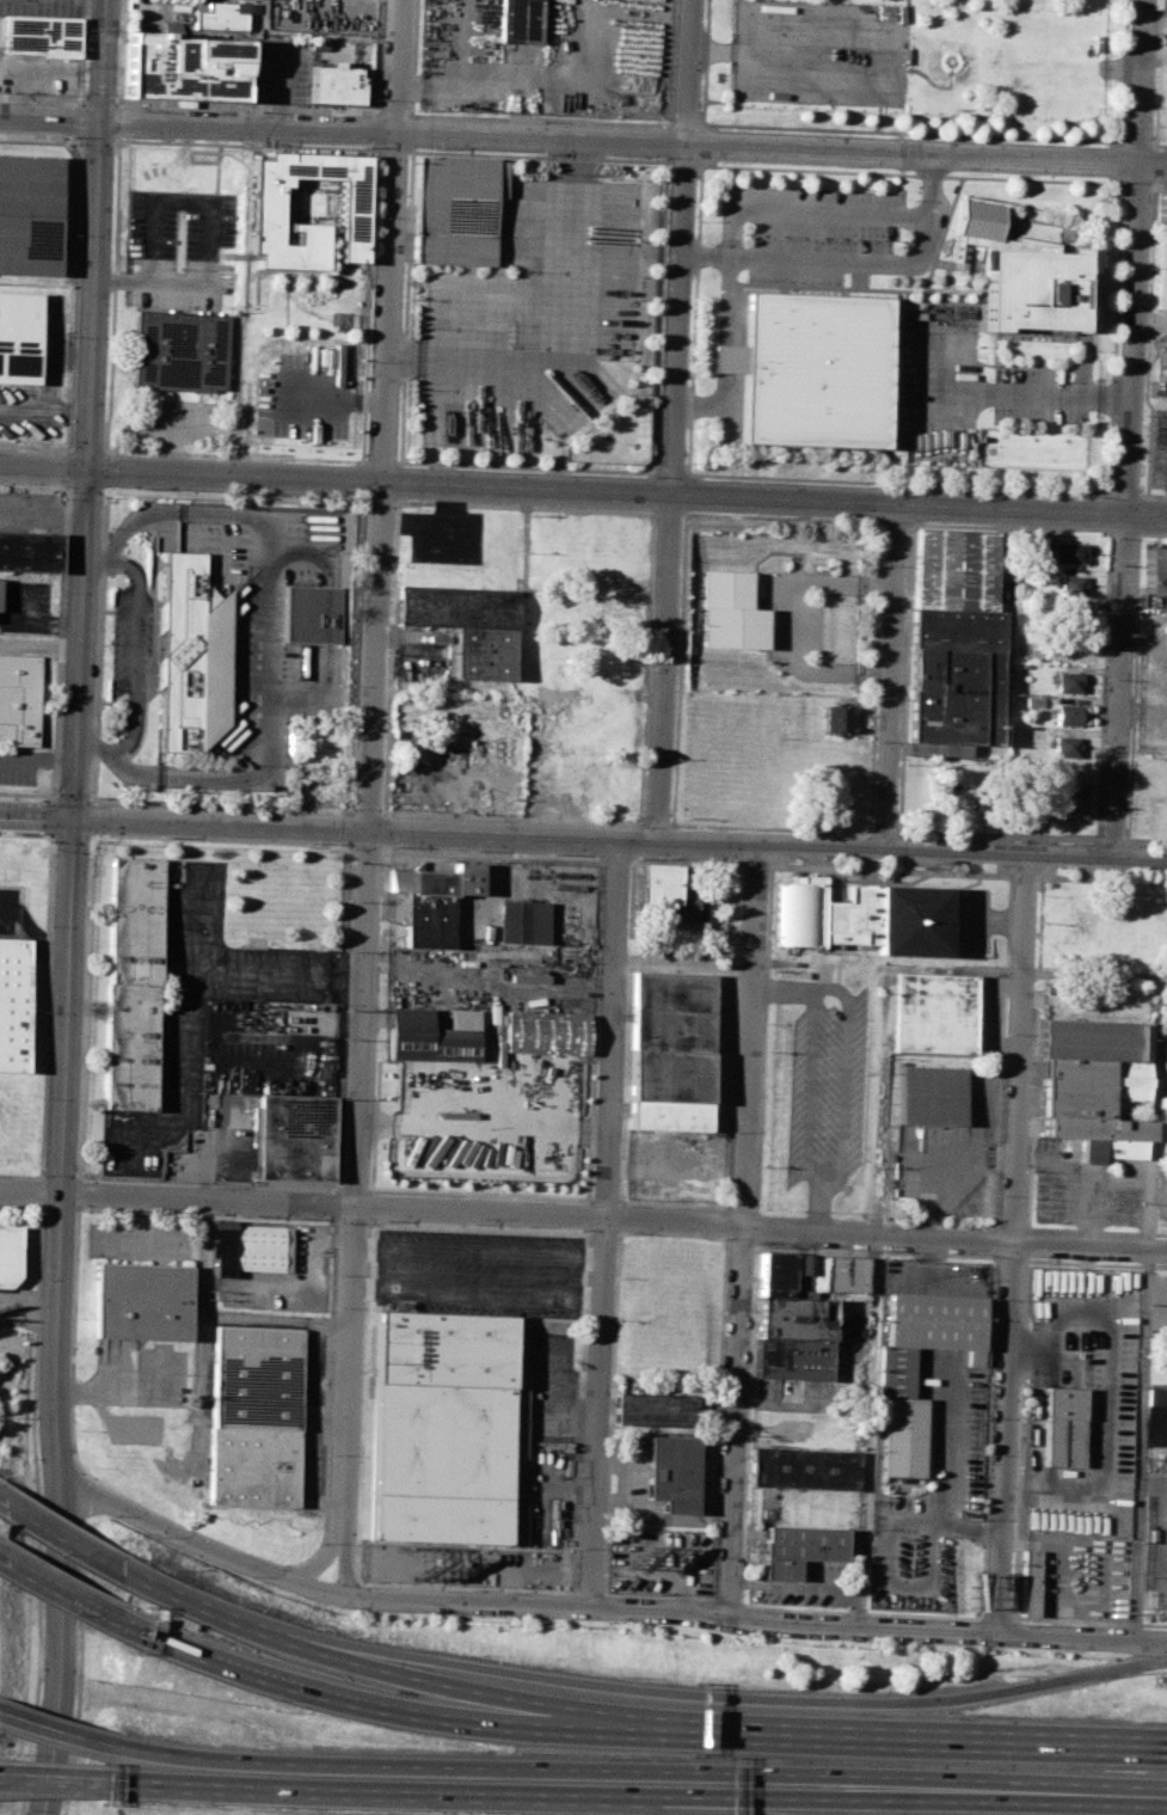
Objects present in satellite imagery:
parking lot: (43, 6)
building: (216, 13)
parking lot: (321, 16)
building: (518, 22)
building: (1165, 24)
building: (41, 37)
road: (119, 51)
road: (718, 51)
parking lot: (821, 54)
parking lot: (546, 57)
road: (105, 59)
road: (377, 59)
road: (412, 59)
road: (670, 62)
road: (704, 62)
building: (183, 68)
road: (1123, 70)
road: (1156, 78)
building: (337, 84)
road: (892, 86)
road: (85, 90)
road: (97, 99)
road: (245, 108)
building: (1163, 108)
road: (393, 114)
road: (50, 116)
road: (539, 121)
road: (684, 125)
road: (373, 130)
road: (410, 133)
road: (910, 133)
street lamp: (122, 137)
road: (116, 140)
road: (634, 141)
road: (1137, 142)
street lamp: (70, 143)
road: (373, 146)
road: (294, 147)
road: (115, 148)
road: (392, 149)
road: (257, 153)
road: (117, 155)
road: (538, 155)
road: (190, 157)
road: (683, 161)
road: (216, 168)
road: (908, 174)
road: (1132, 184)
road: (1149, 185)
road: (293, 198)
road: (179, 204)
building: (268, 204)
building: (1160, 207)
building: (455, 208)
road: (244, 209)
road: (930, 211)
building: (27, 214)
road: (731, 220)
parking lot: (813, 231)
street lamp: (70, 233)
road: (331, 247)
parking lot: (178, 249)
road: (248, 256)
road: (220, 259)
road: (354, 265)
building: (1020, 271)
road: (291, 272)
building: (1160, 275)
road: (151, 283)
road: (340, 284)
road: (96, 294)
road: (284, 298)
road: (366, 302)
road: (216, 305)
road: (404, 306)
parking lot: (532, 315)
road: (659, 317)
road: (693, 319)
road: (553, 321)
road: (239, 324)
road: (726, 329)
building: (17, 336)
street lamp: (69, 336)
road: (1145, 344)
building: (177, 351)
building: (730, 358)
road: (1085, 366)
road: (51, 367)
building: (816, 370)
road: (145, 393)
parking lot: (305, 396)
road: (973, 396)
road: (198, 398)
road: (330, 399)
parking lot: (1036, 399)
road: (173, 401)
road: (45, 412)
road: (676, 421)
parking lot: (172, 425)
road: (172, 430)
road: (1129, 430)
street lamp: (108, 446)
road: (35, 447)
road: (85, 449)
parking lot: (1156, 449)
road: (168, 452)
road: (233, 455)
road: (379, 461)
street lamp: (420, 466)
road: (526, 467)
road: (45, 470)
traffic signals: (91, 471)
road: (671, 473)
street lamp: (646, 476)
road: (360, 479)
street lamp: (757, 480)
road: (398, 482)
street lamp: (867, 486)
street lamp: (63, 488)
road: (86, 489)
road: (1050, 489)
street lamp: (167, 491)
street lamp: (985, 491)
road: (1126, 493)
street lamp: (269, 495)
road: (232, 496)
road: (628, 496)
street lamp: (1092, 496)
road: (360, 498)
road: (398, 499)
road: (361, 501)
road: (380, 501)
road: (523, 507)
road: (668, 513)
road: (781, 517)
road: (897, 525)
street lamp: (110, 528)
road: (1009, 529)
road: (1124, 534)
street lamp: (1111, 540)
building: (29, 551)
building: (1061, 554)
building: (957, 571)
building: (1151, 572)
building: (1074, 587)
road: (523, 591)
street lamp: (57, 594)
building: (608, 603)
parking lot: (25, 606)
building: (730, 611)
road: (25, 612)
building: (1070, 614)
building: (314, 615)
parking lot: (272, 621)
road: (61, 623)
building: (466, 625)
road: (793, 625)
parking lot: (131, 637)
road: (61, 638)
road: (268, 639)
road: (24, 642)
road: (81, 643)
street lamp: (105, 643)
road: (136, 651)
building: (191, 657)
road: (1135, 675)
building: (957, 679)
street lamp: (1106, 679)
road: (890, 680)
parking lot: (1151, 680)
building: (1070, 685)
building: (18, 697)
building: (1073, 717)
building: (841, 721)
street lamp: (102, 726)
building: (1068, 748)
building: (411, 750)
street lamp: (672, 759)
road: (38, 760)
street lamp: (248, 764)
parking lot: (18, 767)
street lamp: (159, 787)
street lamp: (97, 797)
road: (370, 797)
road: (74, 799)
building: (954, 801)
building: (988, 802)
building: (1019, 803)
building: (1049, 804)
building: (1075, 805)
street lamp: (196, 807)
street lamp: (343, 807)
street lamp: (1100, 809)
road: (37, 815)
road: (92, 816)
road: (54, 817)
traffic signals: (75, 817)
road: (629, 822)
road: (366, 829)
road: (72, 835)
road: (91, 835)
street lamp: (927, 838)
street lamp: (948, 838)
street lamp: (47, 841)
street lamp: (1011, 841)
street lamp: (1054, 842)
street lamp: (1091, 845)
street lamp: (1138, 846)
road: (366, 847)
street lamp: (389, 848)
street lamp: (469, 851)
street lamp: (549, 853)
road: (911, 853)
road: (600, 858)
street lamp: (637, 858)
street lamp: (208, 860)
street lamp: (700, 860)
street lamp: (847, 860)
street lamp: (256, 863)
street lamp: (828, 864)
street lamp: (629, 865)
street lamp: (1001, 865)
street lamp: (349, 866)
street lamp: (925, 867)
street lamp: (946, 867)
street lamp: (1052, 867)
street lamp: (1089, 875)
road: (1026, 876)
street lamp: (1166, 877)
street lamp: (766, 883)
road: (345, 889)
building: (664, 891)
street lamp: (1038, 895)
road: (841, 896)
building: (435, 901)
building: (796, 913)
building: (896, 916)
building: (521, 920)
street lamp: (44, 925)
street lamp: (203, 930)
street lamp: (254, 932)
road: (858, 946)
road: (1089, 976)
building: (130, 983)
road: (781, 988)
road: (830, 988)
building: (13, 1000)
road: (48, 1000)
street lamp: (332, 1001)
street lamp: (625, 1008)
street lamp: (344, 1010)
street lamp: (43, 1011)
building: (934, 1016)
street lamp: (761, 1022)
building: (545, 1034)
street lamp: (1003, 1035)
building: (429, 1036)
parking lot: (221, 1037)
building: (669, 1050)
road: (1036, 1059)
building: (1099, 1087)
parking lot: (824, 1094)
building: (933, 1096)
street lamp: (39, 1098)
street lamp: (342, 1098)
road: (1155, 1111)
street lamp: (620, 1130)
road: (80, 1135)
building: (295, 1136)
parking lot: (953, 1155)
road: (939, 1167)
street lamp: (36, 1175)
road: (62, 1178)
road: (354, 1190)
road: (1160, 1197)
parking lot: (1163, 1201)
road: (1092, 1207)
road: (60, 1208)
street lamp: (81, 1212)
street lamp: (177, 1213)
road: (503, 1213)
road: (819, 1213)
road: (760, 1214)
street lamp: (289, 1216)
street lamp: (376, 1221)
street lamp: (336, 1222)
road: (606, 1222)
road: (354, 1226)
street lamp: (573, 1228)
road: (616, 1230)
road: (739, 1231)
street lamp: (624, 1232)
street lamp: (718, 1237)
road: (725, 1241)
road: (1007, 1244)
street lamp: (779, 1246)
road: (1086, 1246)
building: (247, 1250)
road: (478, 1252)
building: (11, 1255)
street lamp: (87, 1255)
street lamp: (985, 1256)
road: (334, 1261)
road: (1028, 1261)
parking lot: (477, 1273)
building: (810, 1273)
street lamp: (615, 1276)
parking lot: (934, 1276)
road: (477, 1294)
building: (139, 1301)
road: (30, 1305)
street lamp: (332, 1307)
road: (60, 1317)
street lamp: (75, 1317)
road: (277, 1320)
building: (793, 1337)
road: (202, 1338)
building: (892, 1381)
road: (134, 1393)
building: (1156, 1397)
parking lot: (1079, 1402)
building: (655, 1409)
building: (253, 1416)
building: (443, 1427)
street lamp: (610, 1428)
building: (1062, 1428)
street lamp: (75, 1429)
road: (1138, 1445)
parking lot: (545, 1446)
road: (1016, 1446)
street lamp: (326, 1455)
building: (804, 1468)
building: (672, 1472)
road: (1149, 1480)
road: (1163, 1480)
parking lot: (928, 1482)
road: (37, 1490)
road: (1102, 1491)
road: (81, 1494)
road: (0, 1502)
street lamp: (104, 1515)
road: (887, 1525)
street lamp: (78, 1526)
parking lot: (1155, 1529)
road: (1159, 1533)
street lamp: (154, 1535)
road: (61, 1537)
street lamp: (317, 1541)
street lamp: (577, 1546)
road: (331, 1549)
building: (797, 1550)
road: (337, 1552)
road: (0, 1562)
parking lot: (658, 1562)
street lamp: (603, 1574)
street lamp: (241, 1575)
parking lot: (1081, 1575)
building: (1028, 1582)
parking lot: (801, 1584)
road: (61, 1593)
street lamp: (332, 1606)
road: (597, 1606)
street lamp: (979, 1608)
road: (213, 1609)
street lamp: (435, 1615)
road: (979, 1617)
street lamp: (538, 1621)
street lamp: (640, 1626)
street lamp: (79, 1627)
street lamp: (743, 1636)
street lamp: (846, 1642)
street lamp: (947, 1645)
street lamp: (1051, 1650)
street lamp: (1125, 1654)
road: (81, 1667)
road: (500, 1696)
road: (737, 1696)
road: (404, 1713)
street lamp: (73, 1719)
road: (56, 1731)
road: (934, 1736)
road: (454, 1770)
road: (55, 1779)
road: (982, 1790)
road: (375, 1792)
road: (718, 1792)
road: (694, 1808)
street lamp: (24, 1814)

